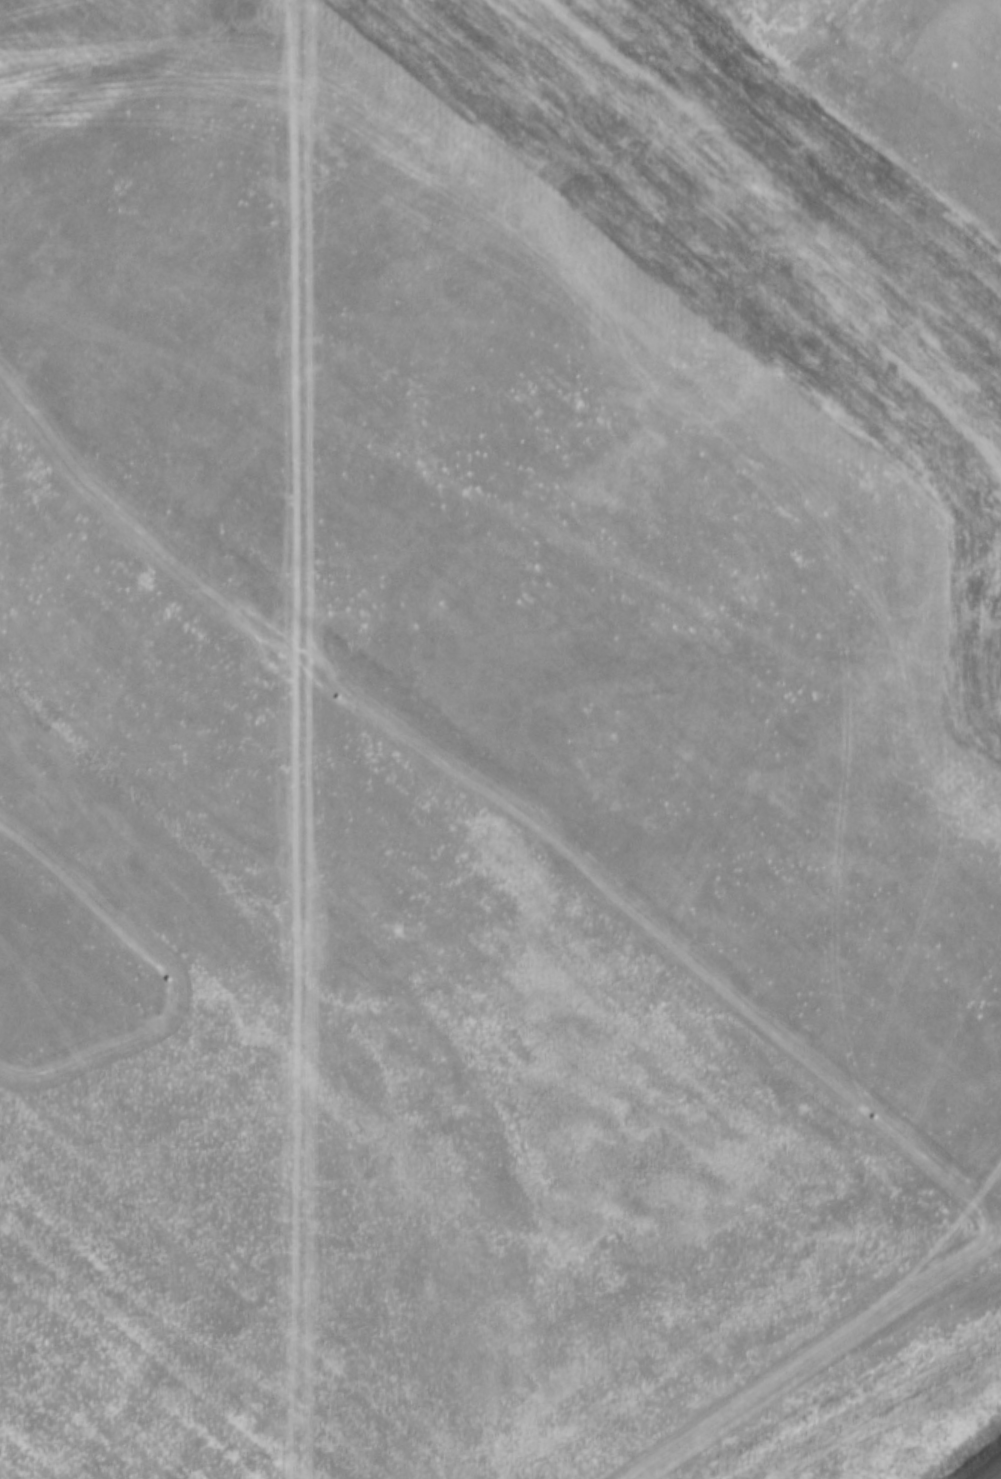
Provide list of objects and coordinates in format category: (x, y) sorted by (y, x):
quarry: (518, 711)

